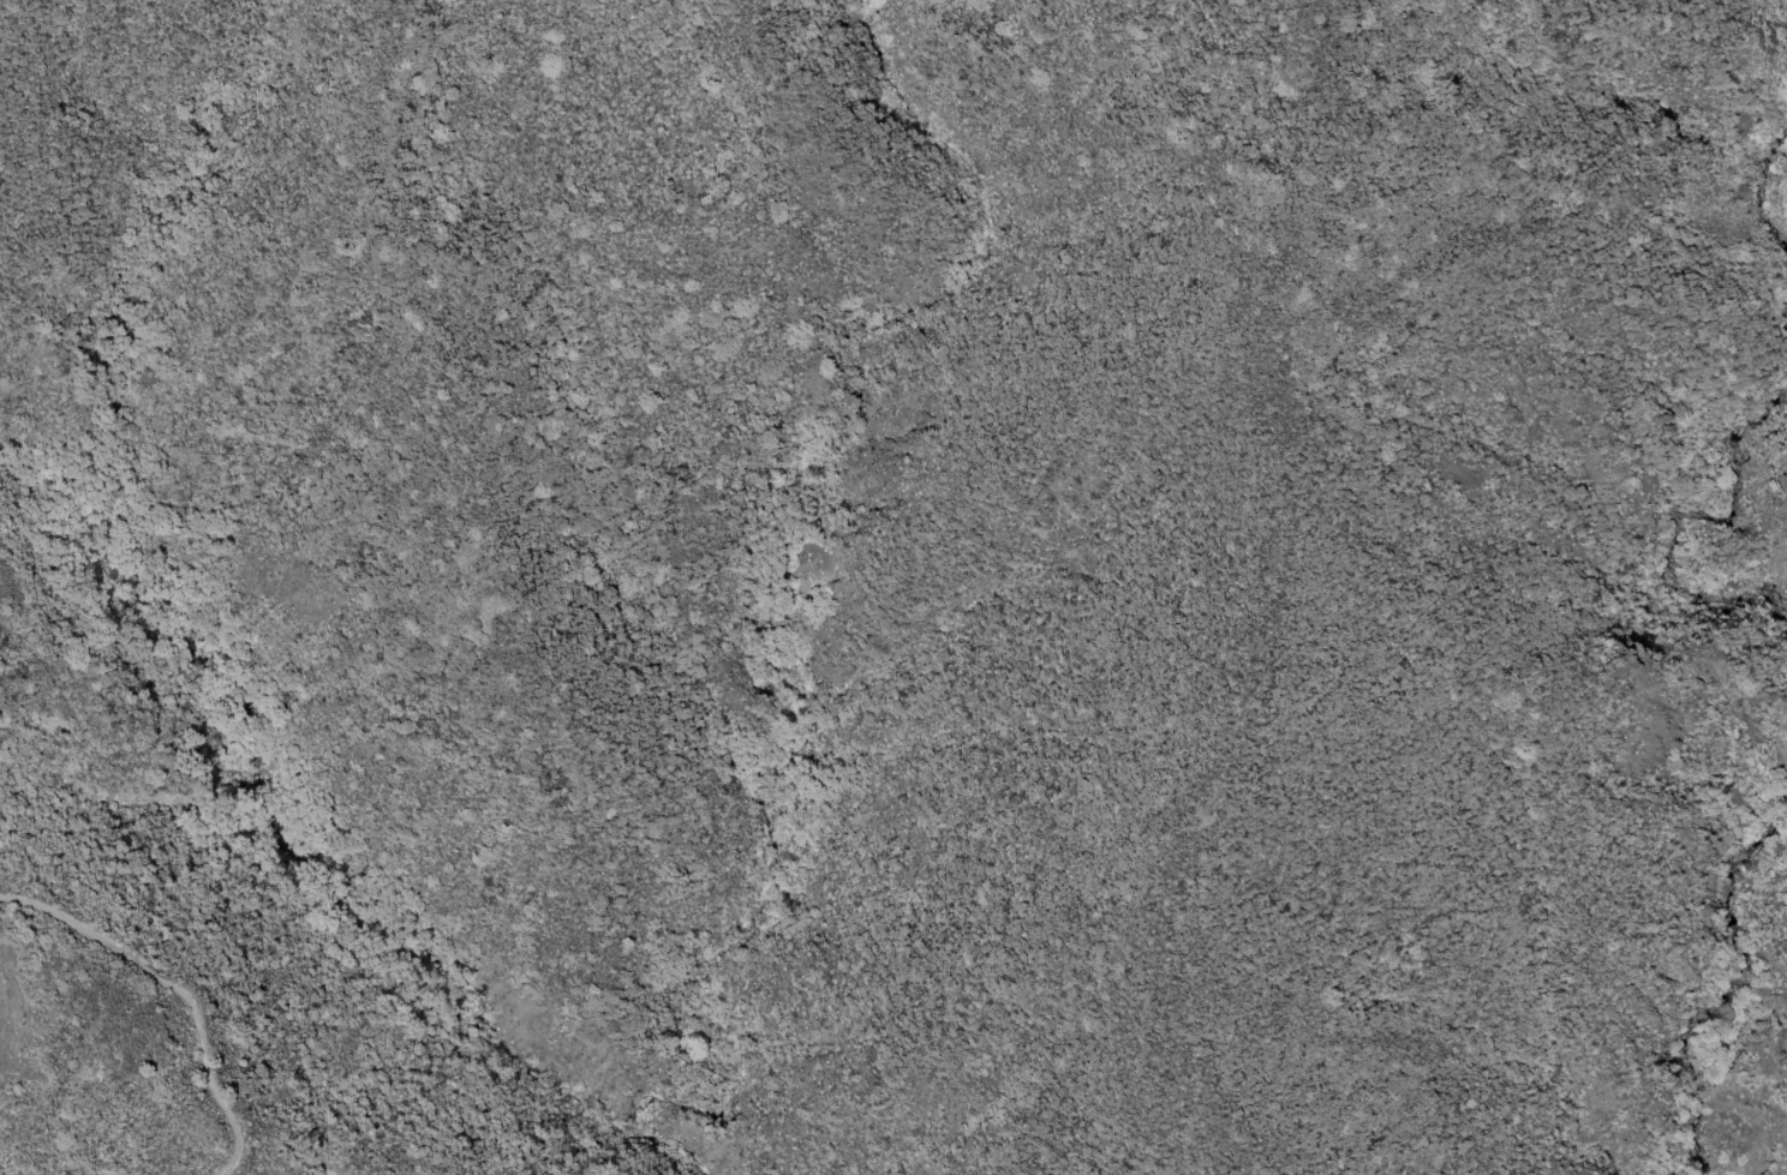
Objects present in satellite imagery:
road: (180, 991)

